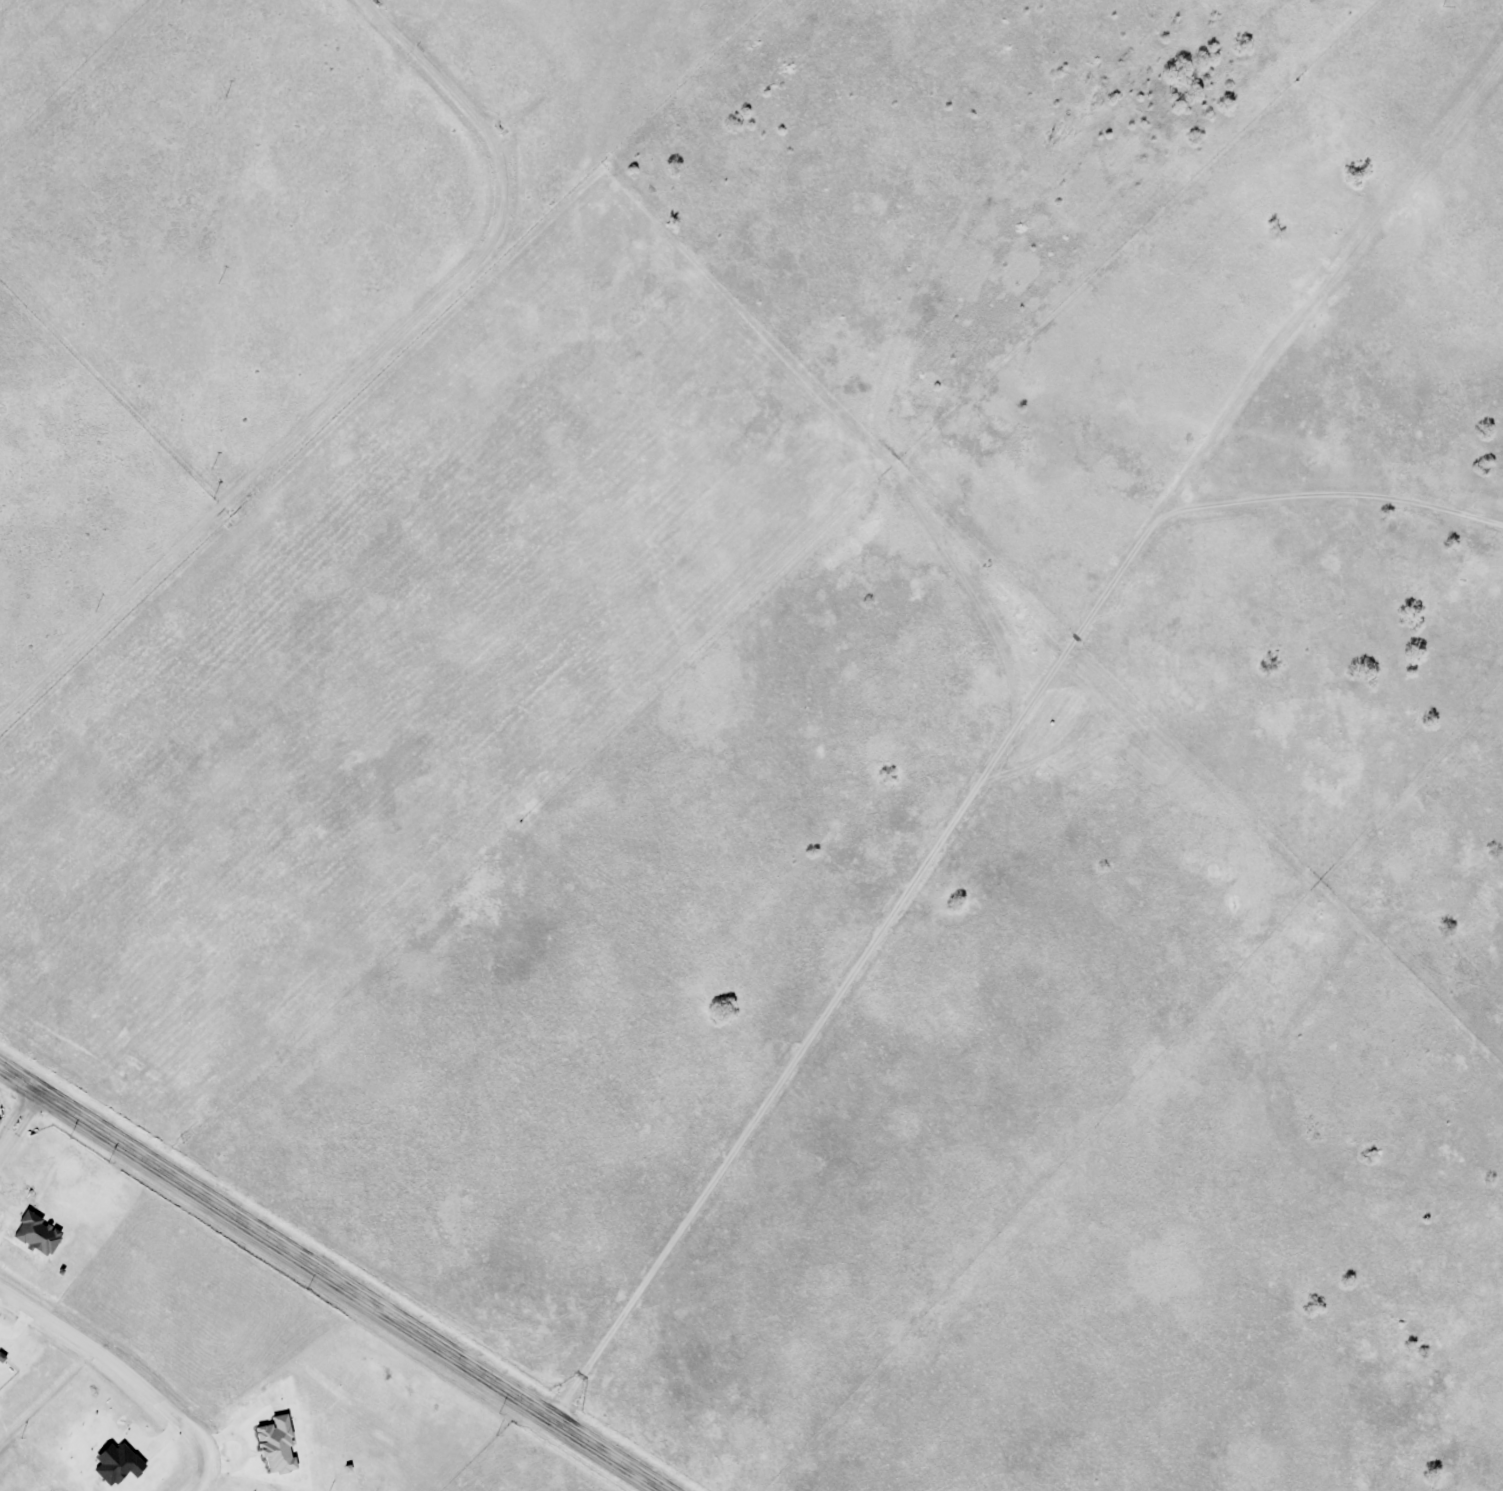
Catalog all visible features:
road: (18, 1118)
road: (330, 1277)
road: (127, 1371)

